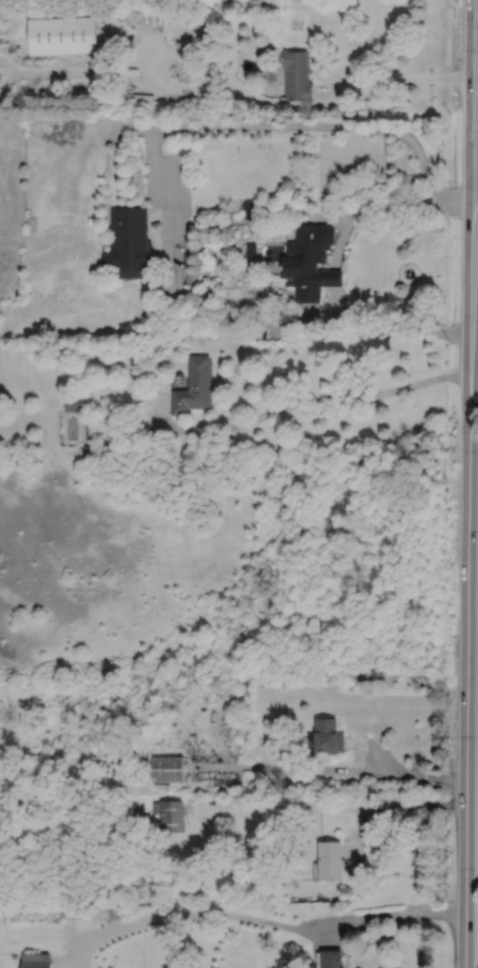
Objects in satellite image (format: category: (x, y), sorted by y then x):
building: (179, 32)
building: (63, 37)
building: (297, 77)
road: (396, 80)
road: (180, 89)
road: (297, 125)
road: (476, 148)
parking lot: (352, 155)
road: (326, 158)
road: (475, 167)
road: (476, 173)
road: (393, 205)
road: (242, 221)
road: (339, 241)
building: (129, 242)
building: (251, 248)
building: (311, 261)
road: (334, 277)
road: (161, 287)
road: (336, 306)
road: (229, 320)
building: (263, 334)
building: (63, 350)
building: (196, 386)
road: (299, 400)
building: (73, 403)
building: (88, 449)
road: (466, 650)
building: (328, 737)
road: (221, 750)
road: (378, 752)
road: (214, 768)
building: (168, 769)
road: (316, 770)
road: (430, 781)
road: (398, 810)
building: (171, 814)
building: (329, 859)
road: (398, 912)
road: (214, 915)
road: (68, 950)
road: (77, 957)
building: (331, 958)
building: (36, 960)
building: (10, 962)

